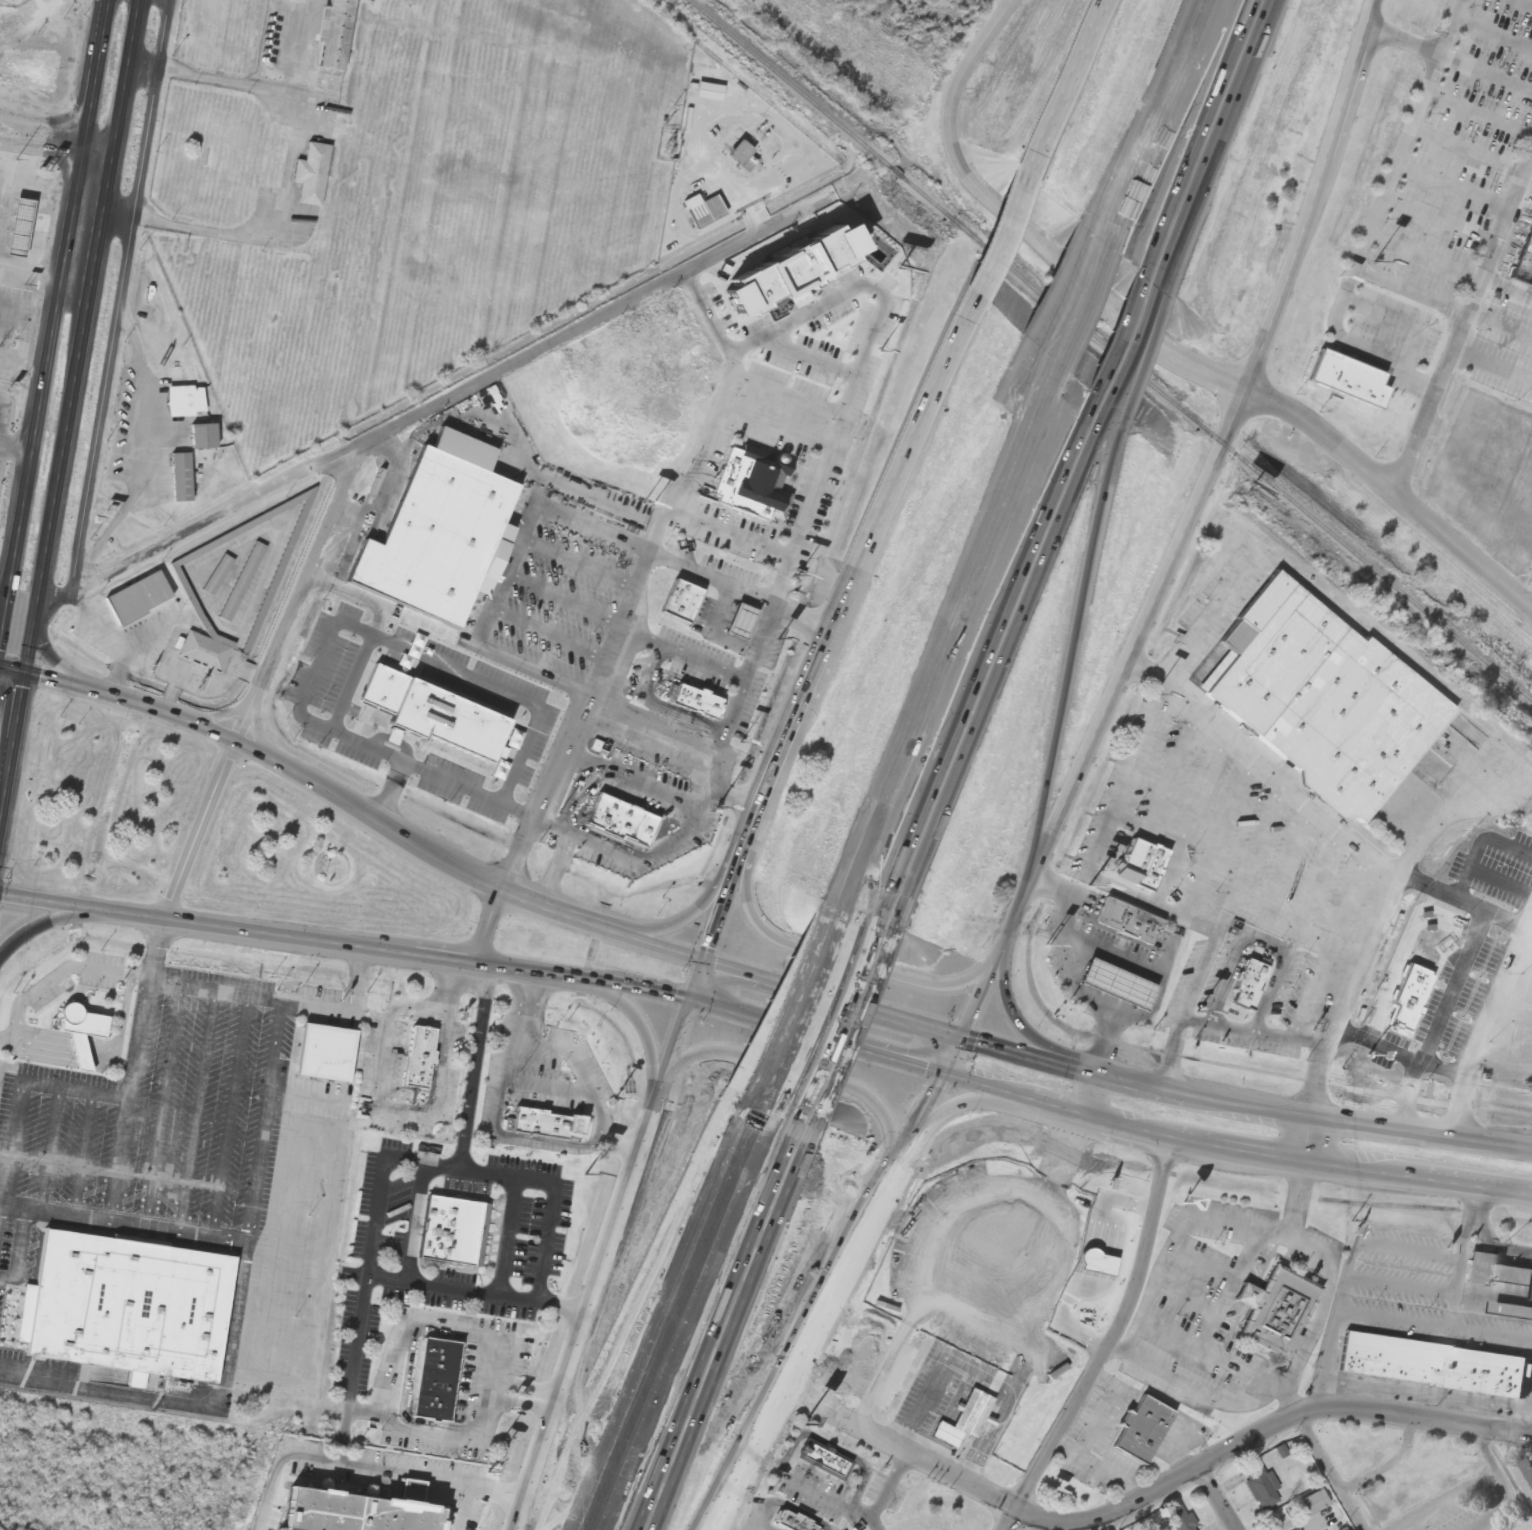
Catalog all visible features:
building: (2, 1)
road: (1094, 24)
building: (335, 36)
road: (1449, 60)
road: (144, 66)
building: (28, 71)
road: (1067, 81)
building: (709, 93)
road: (59, 122)
road: (1157, 122)
road: (1206, 136)
road: (1219, 144)
road: (57, 150)
building: (739, 153)
power tower: (16, 162)
building: (312, 175)
building: (705, 213)
road: (119, 214)
building: (18, 227)
road: (1007, 229)
building: (31, 234)
gas station: (31, 234)
building: (1423, 243)
building: (1530, 251)
building: (791, 268)
road: (120, 294)
road: (1083, 304)
road: (52, 324)
road: (1464, 326)
road: (1123, 339)
road: (1139, 347)
road: (1160, 347)
railway: (1110, 350)
road: (1493, 364)
building: (1358, 386)
road: (450, 395)
building: (185, 402)
road: (72, 415)
road: (775, 431)
building: (203, 437)
road: (1218, 452)
building: (181, 478)
building: (756, 482)
road: (873, 526)
road: (736, 537)
building: (445, 538)
building: (218, 576)
building: (275, 580)
building: (242, 583)
building: (138, 599)
road: (5, 605)
building: (692, 608)
road: (340, 626)
building: (752, 628)
gas station: (752, 628)
road: (614, 633)
road: (947, 641)
building: (204, 653)
road: (1068, 658)
road: (58, 663)
road: (990, 669)
traffic signals: (27, 674)
building: (504, 676)
road: (261, 680)
building: (1323, 698)
building: (707, 706)
road: (666, 745)
road: (419, 769)
road: (298, 773)
road: (392, 794)
road: (730, 798)
road: (759, 803)
road: (699, 815)
building: (632, 827)
road: (864, 832)
road: (565, 856)
building: (1145, 861)
road: (1021, 901)
road: (723, 904)
road: (56, 920)
road: (680, 923)
road: (488, 927)
building: (1139, 929)
road: (641, 941)
road: (346, 944)
road: (837, 955)
traffic signals: (704, 963)
road: (991, 973)
road: (698, 981)
building: (1247, 986)
building: (1261, 991)
building: (1415, 993)
building: (1129, 994)
gas station: (1129, 994)
traffic signals: (692, 999)
road: (833, 999)
road: (778, 1002)
road: (1009, 1004)
road: (798, 1009)
road: (637, 1017)
building: (1393, 1021)
road: (847, 1022)
building: (81, 1024)
road: (820, 1034)
traffic signals: (962, 1035)
building: (327, 1050)
road: (1020, 1051)
building: (421, 1056)
traffic signals: (948, 1069)
road: (811, 1073)
road: (1096, 1093)
road: (957, 1106)
road: (1304, 1116)
building: (547, 1122)
road: (1309, 1137)
road: (1235, 1147)
road: (484, 1174)
building: (455, 1228)
road: (599, 1263)
building: (1496, 1273)
building: (990, 1276)
road: (837, 1282)
road: (452, 1290)
road: (629, 1308)
building: (127, 1309)
building: (1276, 1310)
building: (1511, 1312)
road: (675, 1314)
road: (721, 1321)
road: (424, 1329)
road: (1114, 1331)
building: (1430, 1366)
road: (354, 1367)
road: (521, 1386)
building: (448, 1387)
road: (518, 1403)
building: (1141, 1430)
road: (435, 1433)
building: (826, 1460)
road: (1388, 1463)
road: (1329, 1471)
building: (1526, 1474)
road: (1502, 1483)
building: (1259, 1486)
road: (1150, 1492)
road: (1215, 1498)
road: (1441, 1500)
building: (1314, 1503)
road: (466, 1506)
building: (362, 1518)
road: (1009, 1519)
building: (1180, 1519)
building: (794, 1521)

